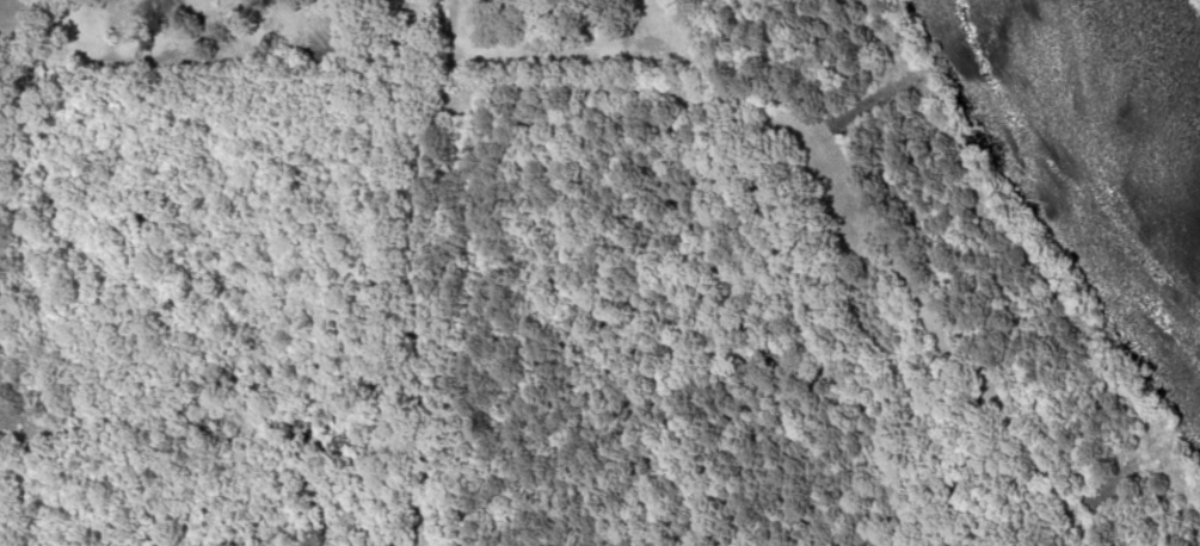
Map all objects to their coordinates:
building: (405, 1)
road: (420, 271)

